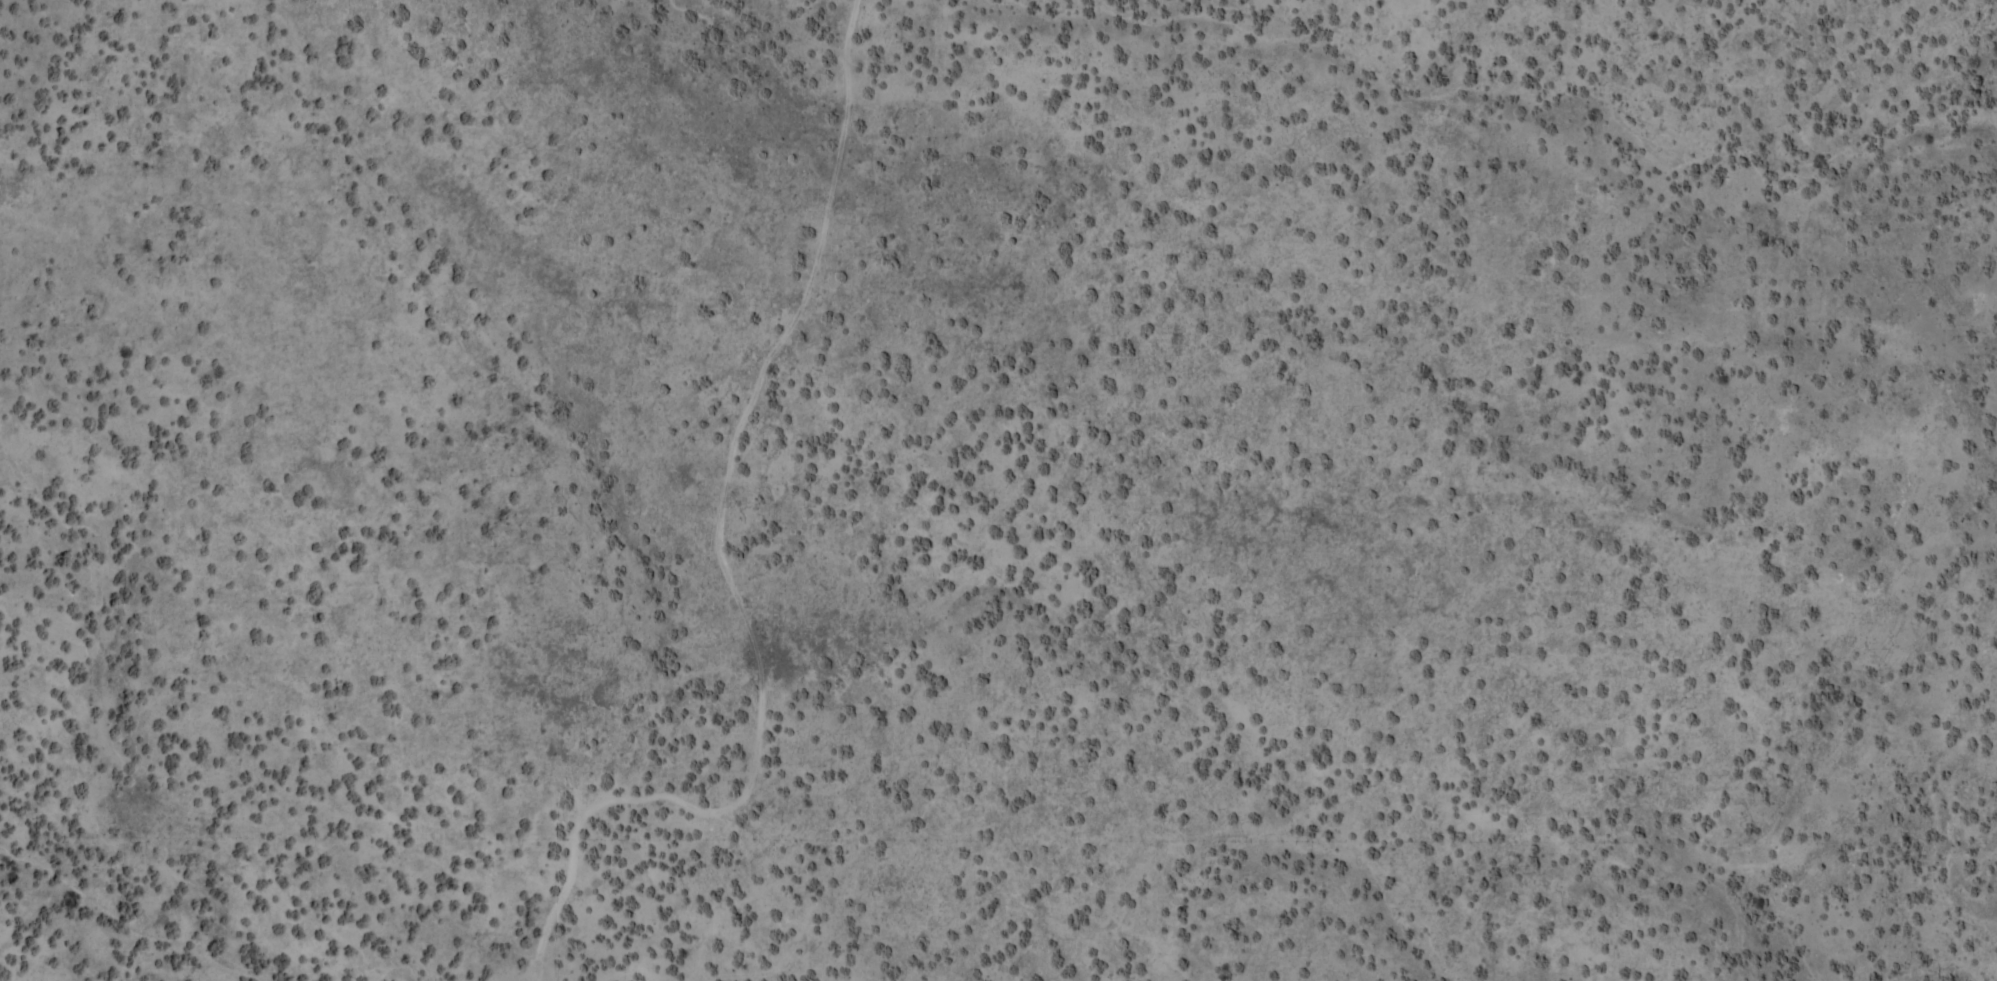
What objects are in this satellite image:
road: (750, 542)
road: (531, 851)

